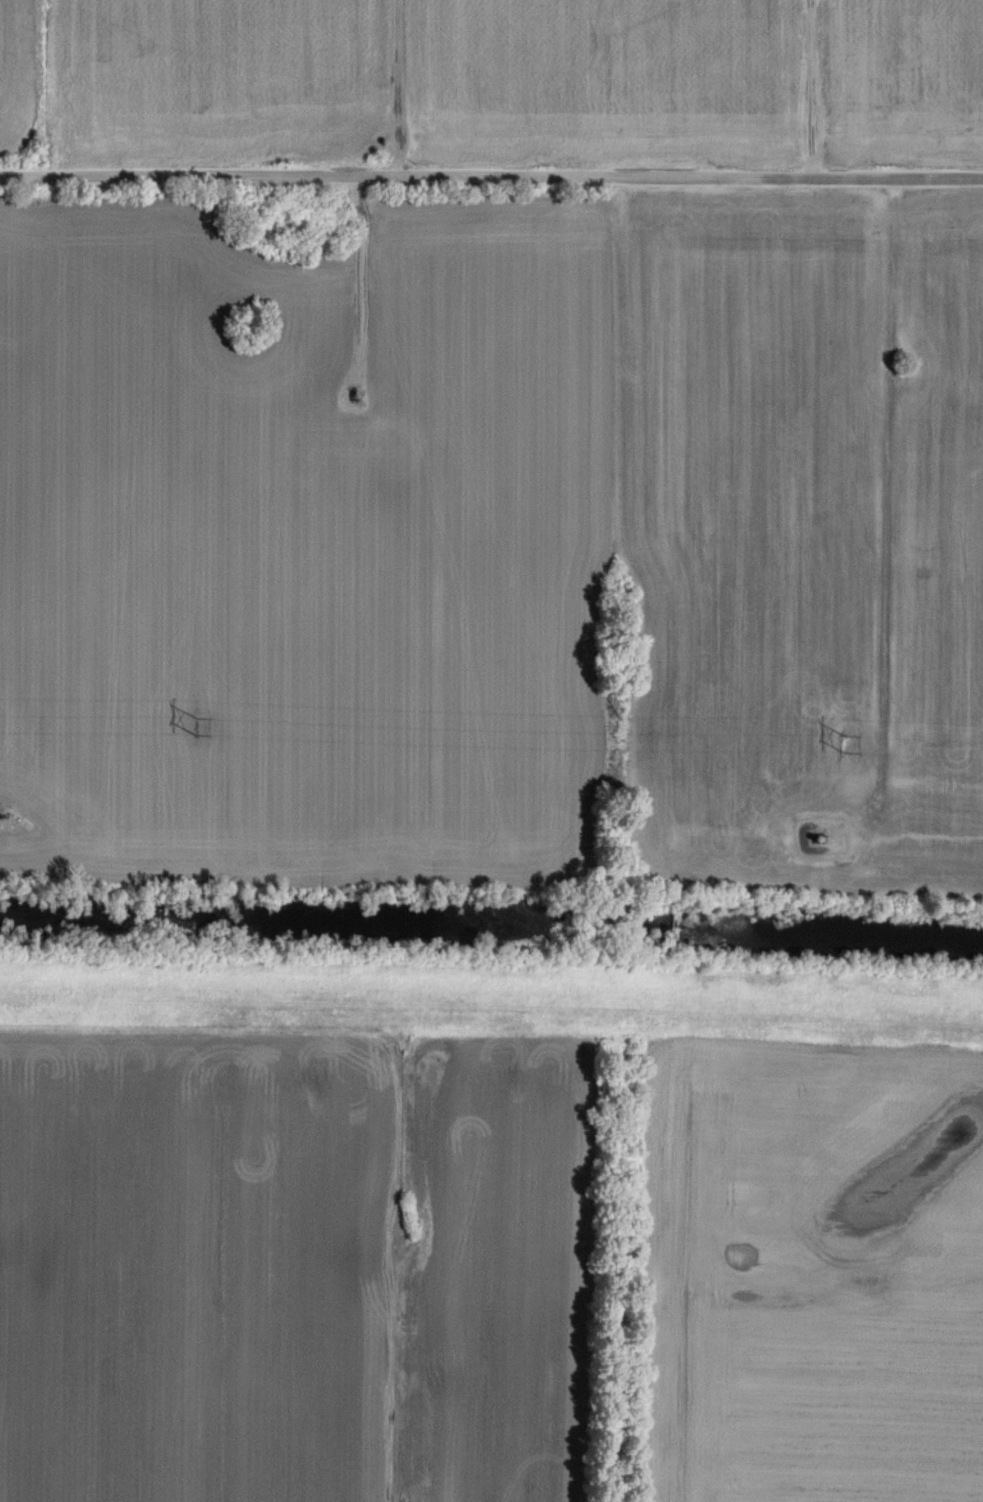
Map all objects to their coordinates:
road: (814, 88)
road: (400, 89)
road: (491, 178)
road: (360, 281)
road: (890, 520)
power tower: (198, 727)
power tower: (848, 747)
road: (401, 1072)
road: (905, 1280)

